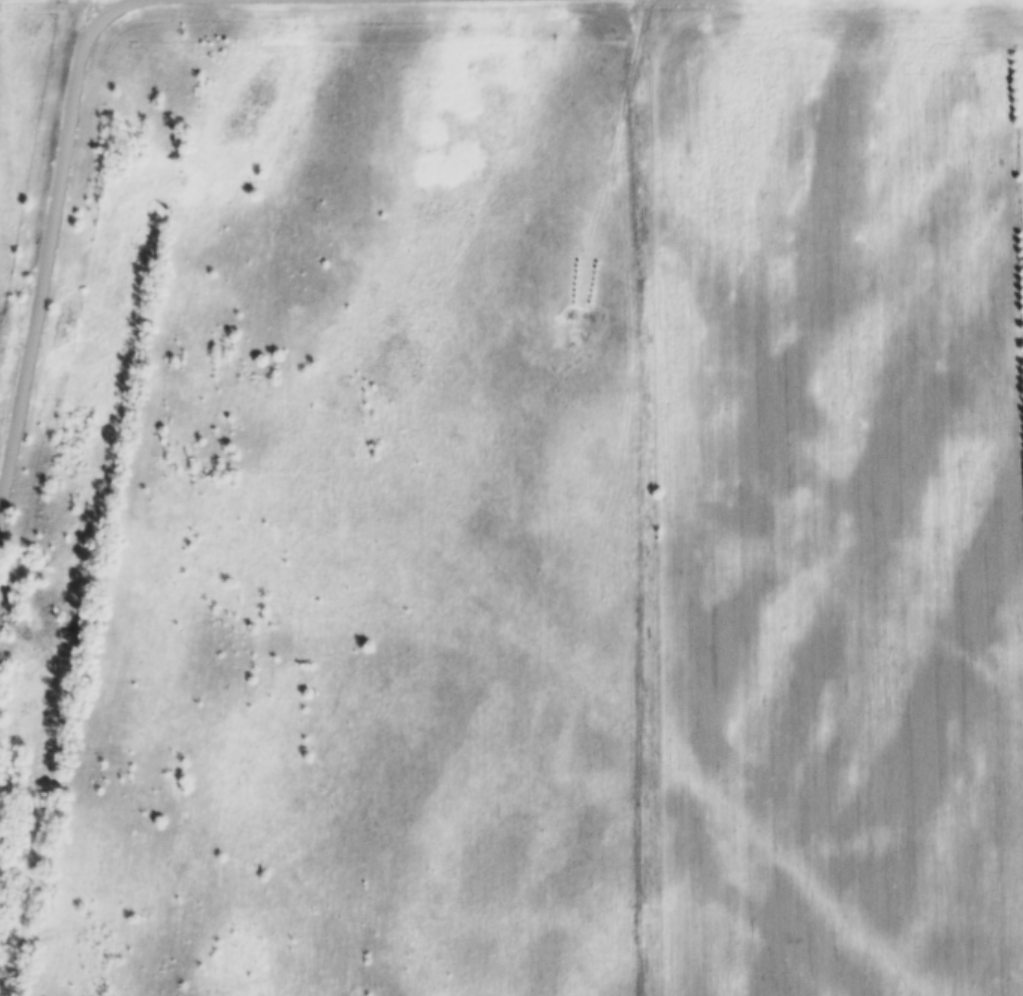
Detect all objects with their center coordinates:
road: (47, 244)

